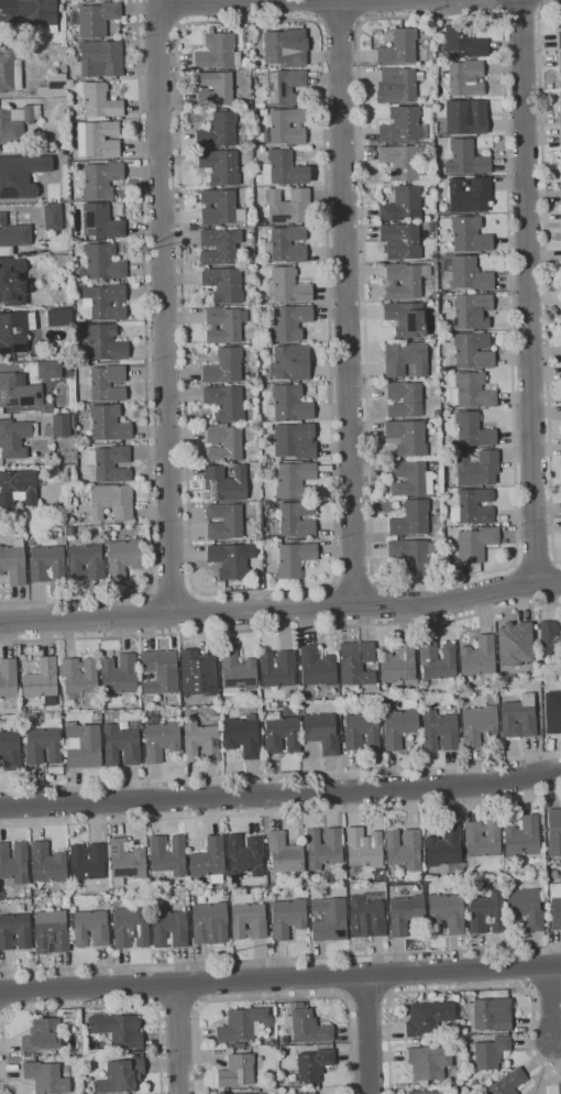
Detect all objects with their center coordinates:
road: (246, 2)
building: (32, 12)
road: (178, 12)
road: (519, 17)
building: (98, 19)
building: (559, 20)
road: (340, 22)
building: (559, 40)
building: (464, 42)
building: (286, 47)
building: (399, 47)
building: (218, 52)
building: (99, 59)
building: (560, 67)
building: (10, 72)
building: (248, 74)
building: (464, 77)
building: (54, 86)
building: (396, 86)
building: (286, 87)
building: (215, 89)
building: (98, 101)
building: (257, 105)
building: (560, 108)
building: (263, 112)
building: (466, 117)
building: (16, 122)
building: (403, 125)
building: (286, 127)
building: (218, 131)
building: (98, 139)
building: (263, 150)
building: (465, 158)
building: (402, 161)
building: (220, 166)
building: (283, 168)
building: (21, 175)
building: (101, 179)
building: (560, 194)
building: (470, 195)
building: (403, 205)
building: (218, 207)
building: (289, 207)
building: (560, 210)
building: (53, 216)
building: (262, 221)
building: (101, 222)
building: (560, 232)
building: (470, 234)
building: (13, 238)
building: (75, 239)
building: (400, 241)
building: (65, 243)
building: (286, 245)
building: (219, 247)
building: (63, 262)
building: (102, 262)
building: (468, 274)
road: (546, 274)
building: (75, 280)
building: (405, 281)
building: (13, 282)
building: (114, 282)
building: (224, 285)
building: (286, 286)
road: (530, 291)
building: (435, 295)
building: (105, 302)
road: (344, 304)
road: (165, 305)
building: (472, 311)
building: (59, 317)
building: (406, 319)
building: (288, 321)
building: (224, 325)
building: (13, 332)
building: (105, 342)
building: (472, 350)
building: (406, 358)
building: (290, 362)
building: (224, 367)
building: (48, 370)
road: (147, 371)
building: (108, 383)
building: (19, 391)
building: (472, 391)
building: (404, 400)
building: (226, 402)
building: (289, 404)
building: (48, 407)
building: (437, 413)
building: (109, 423)
building: (62, 425)
building: (473, 430)
building: (407, 437)
building: (15, 438)
building: (295, 440)
building: (224, 442)
building: (73, 444)
building: (110, 463)
building: (477, 468)
building: (47, 472)
building: (294, 479)
building: (410, 479)
building: (226, 483)
building: (18, 488)
building: (111, 502)
building: (473, 506)
building: (411, 518)
building: (297, 519)
building: (224, 522)
building: (475, 545)
building: (414, 556)
building: (123, 558)
building: (293, 558)
building: (232, 560)
road: (535, 561)
building: (13, 562)
building: (86, 562)
building: (46, 564)
road: (509, 567)
road: (553, 582)
road: (331, 583)
road: (354, 583)
road: (519, 584)
road: (172, 591)
road: (376, 603)
road: (339, 604)
road: (282, 610)
road: (193, 611)
road: (152, 614)
road: (280, 628)
building: (550, 638)
building: (515, 643)
building: (477, 657)
building: (438, 660)
building: (355, 663)
building: (398, 664)
building: (317, 667)
building: (217, 668)
building: (278, 669)
building: (159, 671)
building: (237, 671)
building: (198, 672)
building: (79, 675)
building: (119, 675)
building: (8, 678)
building: (42, 681)
building: (350, 693)
building: (552, 712)
building: (519, 718)
building: (479, 724)
building: (398, 726)
building: (439, 731)
building: (321, 732)
building: (361, 732)
building: (280, 734)
building: (242, 736)
building: (161, 739)
building: (200, 742)
building: (122, 744)
building: (82, 745)
building: (43, 746)
building: (11, 750)
road: (280, 775)
road: (280, 794)
road: (280, 814)
building: (553, 832)
building: (522, 838)
building: (483, 839)
building: (323, 847)
building: (363, 849)
building: (405, 849)
building: (444, 849)
building: (285, 853)
building: (167, 854)
building: (245, 855)
building: (88, 861)
building: (127, 861)
building: (209, 861)
building: (14, 863)
building: (48, 863)
building: (324, 888)
building: (555, 905)
building: (525, 907)
building: (20, 908)
building: (447, 912)
building: (405, 914)
building: (486, 914)
building: (288, 918)
building: (366, 918)
building: (329, 919)
building: (249, 921)
building: (210, 922)
building: (131, 927)
building: (91, 928)
building: (169, 928)
building: (15, 931)
building: (51, 931)
road: (280, 960)
road: (389, 974)
road: (348, 977)
road: (280, 978)
road: (157, 984)
road: (196, 984)
road: (459, 989)
road: (3, 993)
road: (277, 997)
road: (369, 997)
building: (298, 1004)
road: (553, 1004)
road: (85, 1006)
road: (178, 1006)
road: (3, 1014)
building: (493, 1014)
building: (428, 1018)
building: (242, 1024)
building: (307, 1027)
building: (118, 1029)
road: (370, 1033)
building: (42, 1036)
road: (179, 1038)
building: (284, 1039)
building: (274, 1042)
building: (421, 1042)
building: (239, 1044)
building: (229, 1046)
building: (490, 1053)
building: (429, 1062)
building: (313, 1064)
building: (237, 1071)
building: (121, 1076)
building: (46, 1077)
building: (508, 1082)
building: (300, 1087)
building: (554, 1088)
building: (256, 1090)
building: (293, 1090)
building: (426, 1092)
building: (248, 1093)

